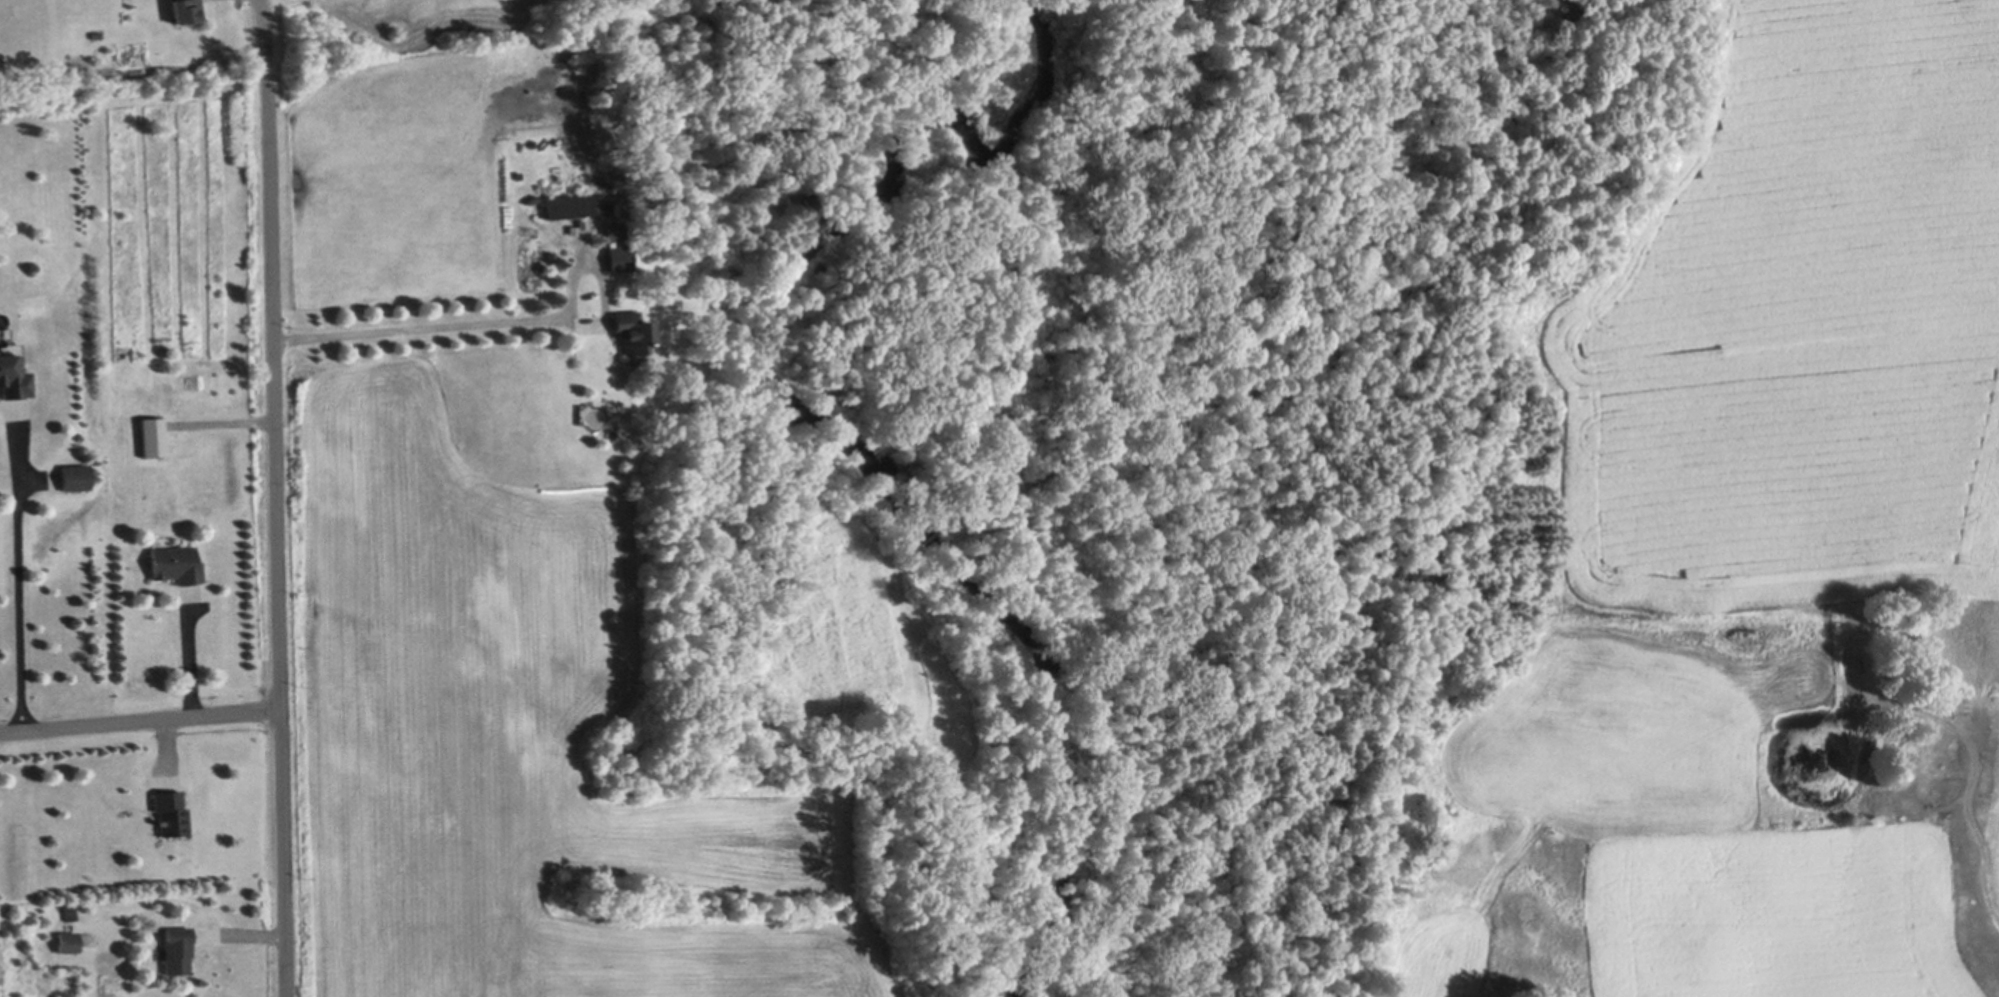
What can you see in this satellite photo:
building: (185, 11)
building: (571, 205)
building: (613, 234)
building: (551, 255)
building: (618, 258)
road: (418, 328)
building: (632, 333)
building: (14, 376)
building: (153, 434)
river: (880, 473)
building: (76, 476)
building: (1007, 491)
road: (275, 498)
building: (177, 564)
road: (18, 584)
road: (139, 718)
building: (172, 812)
building: (70, 912)
building: (68, 941)
building: (177, 949)

